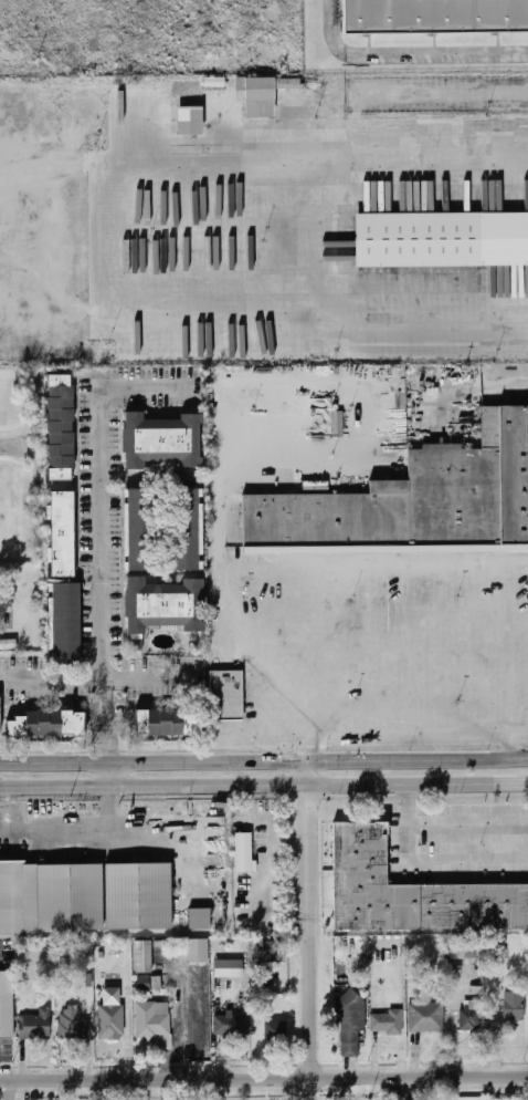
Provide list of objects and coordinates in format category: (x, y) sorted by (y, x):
building: (434, 15)
road: (406, 53)
building: (263, 93)
building: (189, 120)
road: (18, 212)
road: (99, 239)
building: (441, 239)
building: (62, 421)
building: (165, 436)
road: (4, 446)
road: (225, 471)
road: (102, 496)
building: (414, 498)
building: (145, 525)
building: (189, 525)
building: (66, 528)
building: (167, 600)
building: (70, 615)
building: (8, 644)
road: (242, 652)
road: (97, 678)
building: (230, 689)
building: (1, 712)
building: (170, 718)
building: (49, 719)
road: (109, 725)
road: (520, 731)
road: (423, 734)
road: (264, 737)
road: (264, 761)
road: (112, 775)
road: (264, 787)
road: (408, 803)
road: (68, 826)
road: (409, 842)
road: (309, 848)
building: (245, 853)
building: (413, 886)
building: (139, 896)
building: (50, 897)
building: (200, 920)
building: (466, 948)
building: (200, 953)
building: (271, 954)
building: (145, 957)
building: (230, 968)
building: (85, 979)
building: (148, 983)
building: (514, 1006)
road: (313, 1007)
building: (8, 1008)
building: (110, 1014)
building: (471, 1015)
building: (425, 1017)
building: (350, 1021)
building: (387, 1021)
building: (155, 1023)
building: (231, 1024)
building: (35, 1025)
building: (72, 1026)
building: (275, 1031)
road: (264, 1080)
road: (314, 1089)

